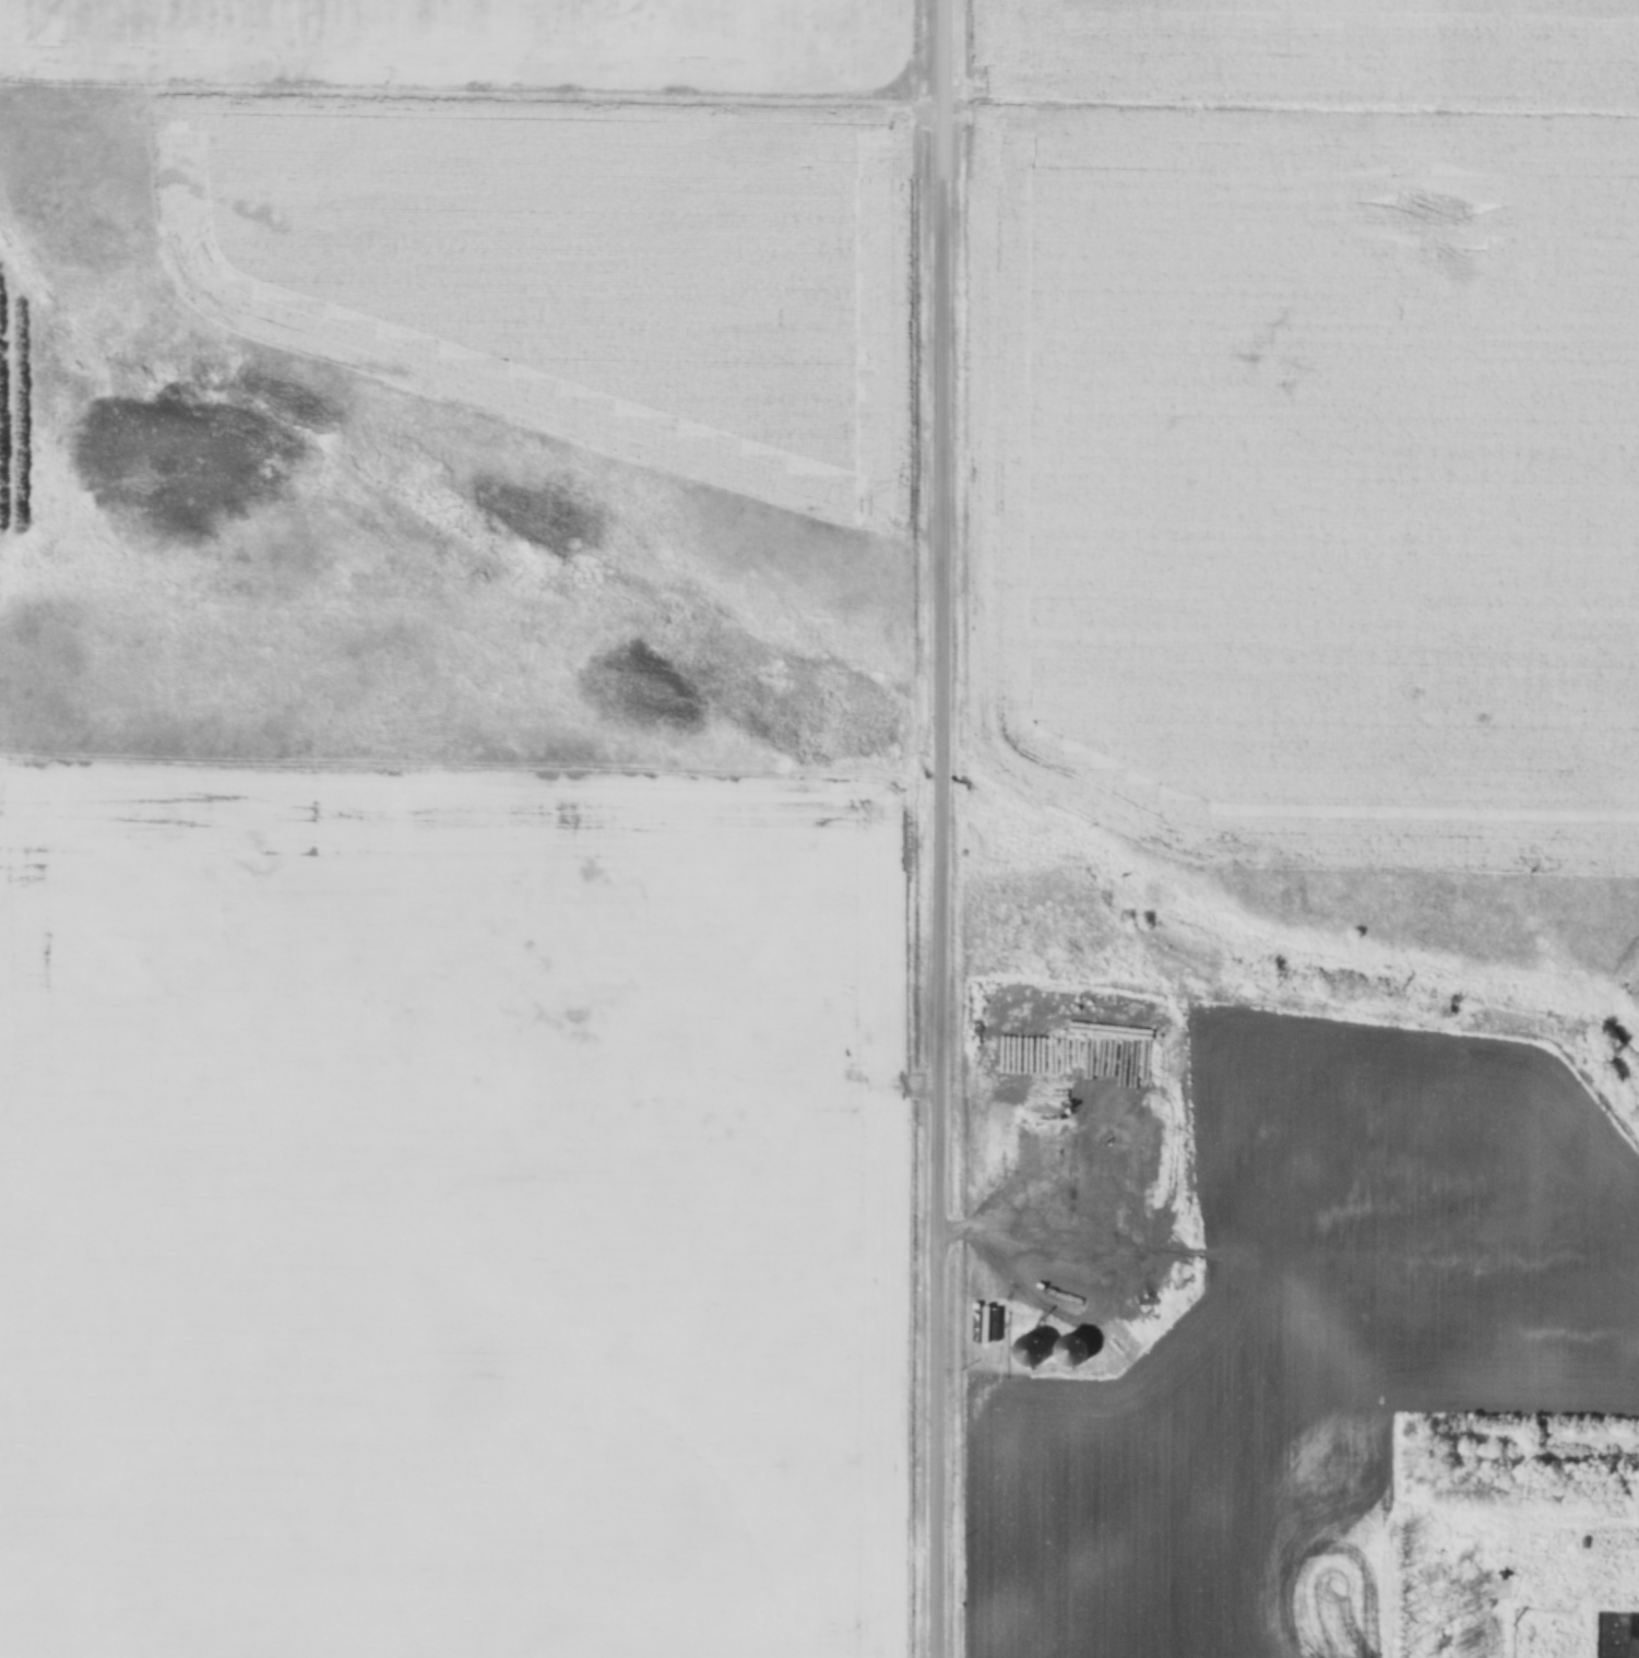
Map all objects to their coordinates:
road: (941, 829)
building: (1503, 1587)

